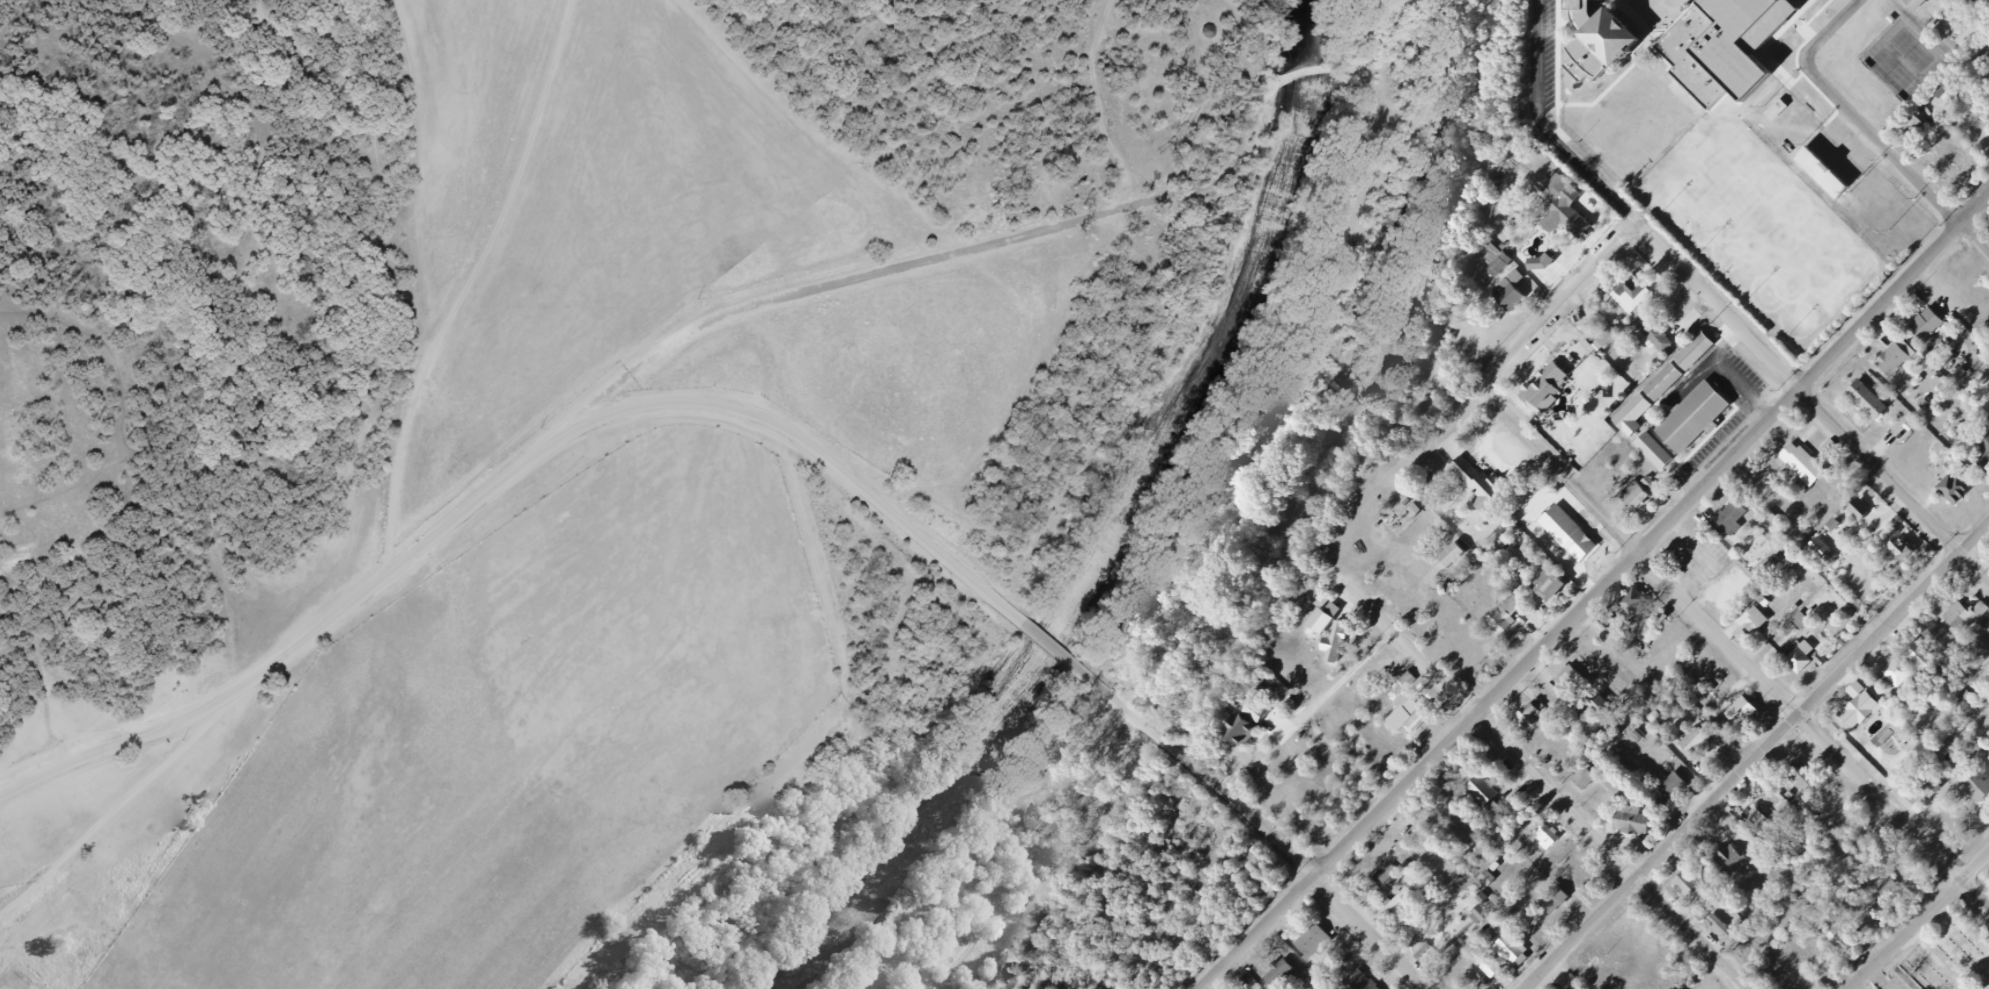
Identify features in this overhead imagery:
building: (1986, 2)
building: (1922, 5)
road: (1828, 28)
building: (1209, 33)
building: (1607, 47)
building: (1730, 48)
park: (1901, 59)
building: (1938, 116)
road: (1551, 127)
building: (1911, 129)
road: (1894, 151)
building: (1814, 174)
building: (1570, 207)
park: (1767, 223)
road: (958, 254)
building: (1494, 268)
road: (469, 276)
building: (1516, 293)
building: (1632, 295)
road: (1555, 307)
building: (1931, 331)
building: (1662, 335)
building: (1612, 340)
building: (1898, 365)
building: (1553, 391)
road: (1812, 397)
building: (1874, 404)
building: (1681, 415)
building: (1988, 450)
building: (1809, 467)
building: (1986, 468)
road: (506, 478)
building: (1489, 487)
building: (1959, 496)
building: (1642, 499)
building: (1859, 509)
building: (1868, 515)
building: (1773, 519)
building: (1735, 520)
river: (1116, 531)
building: (1574, 537)
building: (1909, 553)
building: (1450, 555)
building: (1827, 556)
building: (1459, 561)
building: (1556, 590)
road: (1598, 595)
building: (1630, 603)
building: (1639, 606)
building: (1515, 616)
building: (1799, 618)
building: (1970, 620)
building: (1763, 622)
building: (1802, 628)
building: (1337, 642)
building: (1946, 643)
road: (1053, 644)
building: (1344, 646)
road: (1738, 653)
building: (1926, 662)
building: (1805, 663)
building: (1905, 679)
building: (1572, 680)
road: (1338, 684)
building: (1751, 712)
building: (1863, 717)
building: (1535, 718)
building: (1422, 721)
building: (1256, 727)
building: (1240, 731)
building: (1896, 736)
building: (1912, 746)
building: (1702, 747)
road: (1757, 758)
road: (1206, 772)
building: (1590, 779)
building: (1809, 780)
building: (1978, 783)
road: (1549, 785)
building: (1931, 787)
building: (1674, 793)
building: (1492, 799)
road: (120, 813)
building: (1764, 824)
building: (1641, 825)
building: (1552, 835)
building: (1741, 866)
building: (1486, 877)
building: (1494, 879)
building: (1695, 889)
building: (1377, 893)
building: (1891, 893)
building: (1388, 898)
building: (1561, 903)
building: (1488, 913)
road: (1922, 923)
road: (1378, 931)
building: (1727, 934)
building: (1319, 940)
building: (1847, 948)
building: (1424, 950)
building: (1521, 954)
building: (1488, 965)
building: (1286, 975)
building: (1368, 982)
parking lot: (1893, 984)

